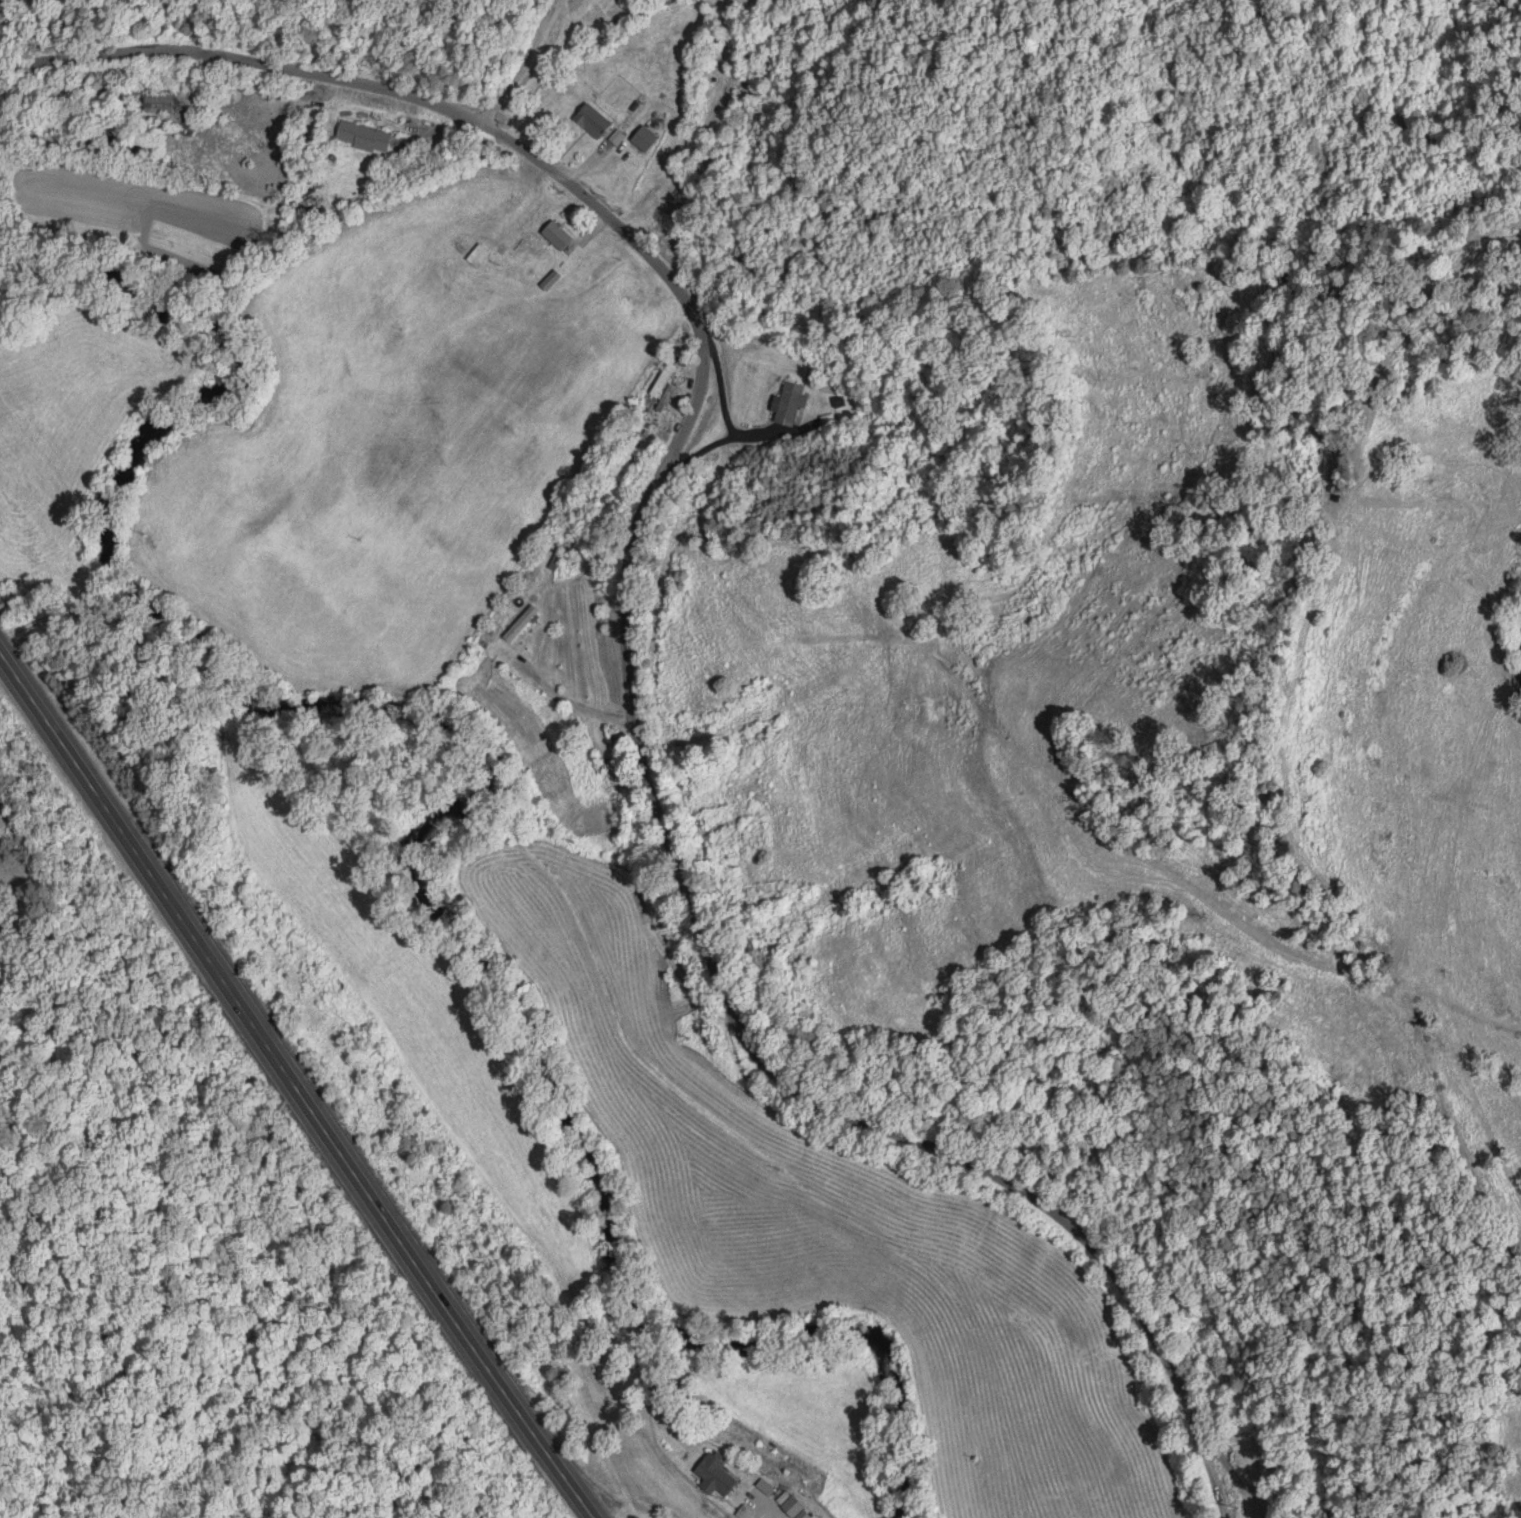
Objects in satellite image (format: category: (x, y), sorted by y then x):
road: (639, 645)
road: (298, 1086)

